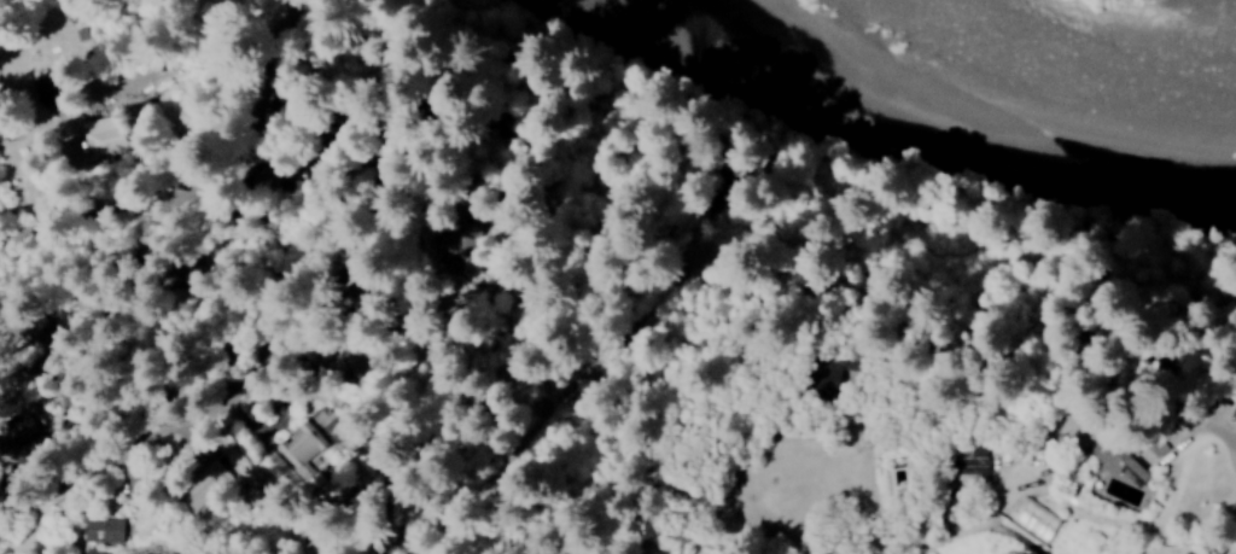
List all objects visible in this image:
river: (966, 146)
road: (337, 179)
road: (358, 202)
road: (268, 298)
road: (1109, 396)
road: (1235, 425)
road: (1086, 457)
building: (975, 459)
building: (1125, 462)
building: (104, 529)
road: (351, 529)

